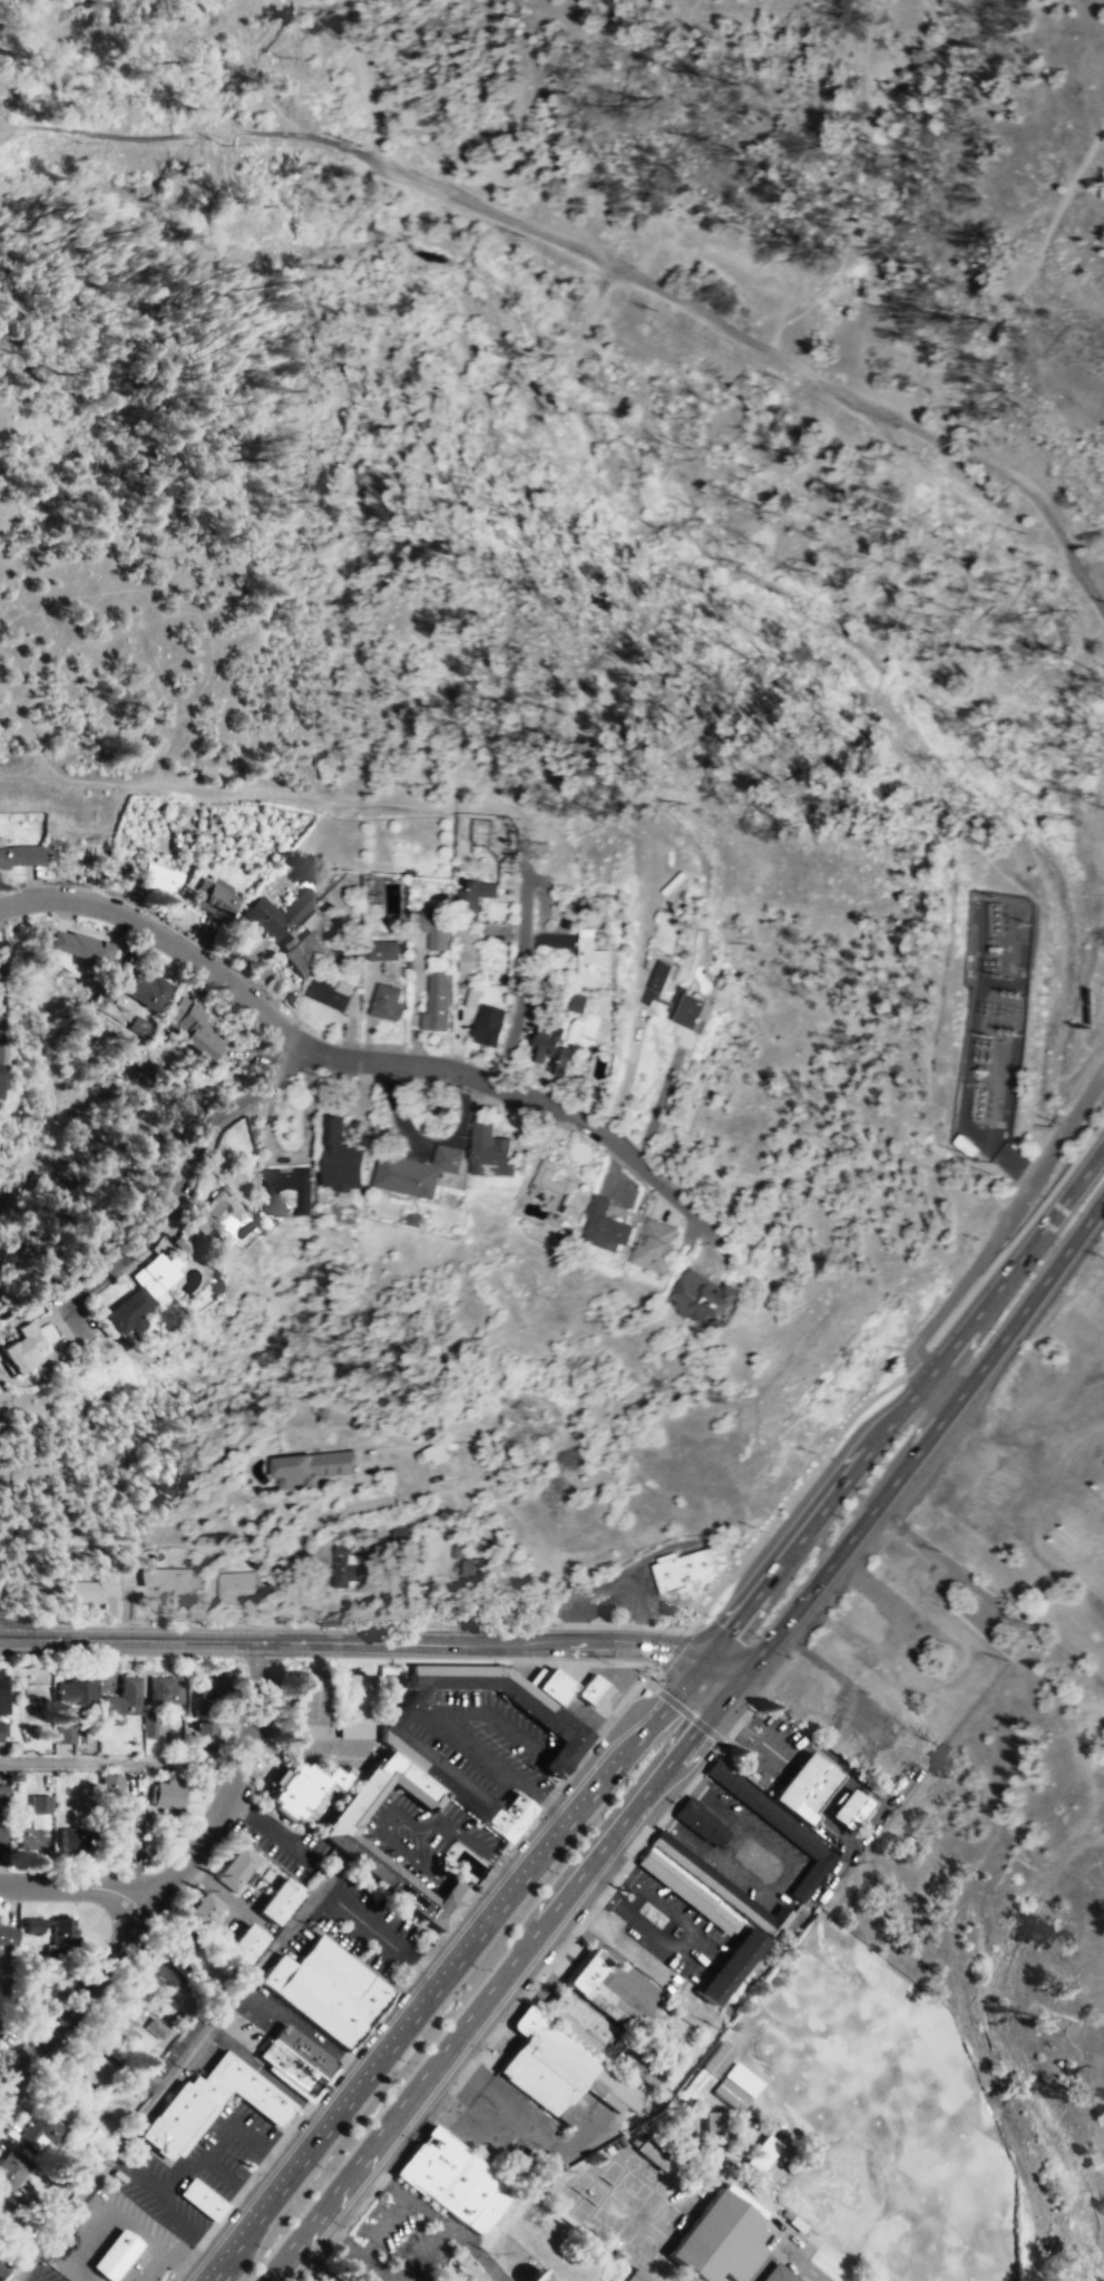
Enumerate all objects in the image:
road: (1095, 39)
road: (360, 79)
road: (1072, 90)
road: (7, 133)
road: (192, 133)
road: (1023, 282)
road: (590, 309)
road: (770, 350)
road: (903, 515)
road: (256, 794)
road: (970, 842)
power tower: (538, 848)
building: (19, 853)
building: (159, 877)
building: (212, 899)
building: (473, 899)
building: (275, 913)
street lamp: (162, 915)
building: (436, 930)
building: (82, 945)
building: (385, 949)
building: (301, 952)
building: (466, 952)
building: (592, 959)
road: (521, 974)
building: (660, 980)
building: (144, 987)
building: (329, 991)
building: (385, 1001)
building: (437, 1001)
building: (579, 1002)
building: (688, 1010)
power substation: (990, 1020)
building: (194, 1025)
building: (488, 1025)
building: (553, 1047)
road: (355, 1058)
building: (1, 1074)
street lamp: (321, 1076)
street lamp: (470, 1090)
street lamp: (565, 1099)
building: (963, 1145)
building: (490, 1149)
road: (306, 1153)
building: (340, 1156)
road: (1088, 1163)
building: (417, 1171)
street lamp: (668, 1175)
building: (553, 1186)
road: (177, 1187)
road: (1102, 1200)
building: (303, 1201)
building: (217, 1213)
building: (605, 1223)
road: (1017, 1232)
road: (991, 1240)
building: (182, 1241)
building: (652, 1243)
building: (144, 1291)
building: (701, 1293)
building: (21, 1347)
road: (914, 1359)
street lamp: (839, 1438)
road: (924, 1442)
building: (432, 1452)
road: (950, 1452)
road: (995, 1462)
building: (307, 1466)
road: (788, 1497)
road: (316, 1521)
street lamp: (766, 1532)
building: (398, 1533)
building: (378, 1545)
building: (455, 1550)
building: (343, 1563)
building: (470, 1570)
building: (683, 1571)
building: (165, 1578)
building: (233, 1584)
building: (92, 1586)
road: (610, 1594)
street lamp: (771, 1611)
street lamp: (709, 1614)
street lamp: (55, 1620)
street lamp: (246, 1622)
street lamp: (447, 1623)
road: (7, 1632)
road: (372, 1640)
road: (672, 1649)
street lamp: (790, 1657)
road: (619, 1663)
street lamp: (655, 1677)
building: (550, 1682)
building: (215, 1686)
building: (589, 1688)
building: (164, 1689)
building: (76, 1691)
building: (303, 1692)
building: (2, 1693)
building: (354, 1693)
building: (120, 1699)
building: (148, 1724)
road: (597, 1727)
building: (1, 1729)
building: (67, 1729)
road: (447, 1729)
road: (641, 1735)
building: (203, 1737)
parking lot: (483, 1739)
building: (402, 1743)
street lamp: (717, 1747)
road: (776, 1750)
road: (121, 1761)
building: (109, 1782)
building: (299, 1782)
building: (802, 1786)
park: (1019, 1786)
street lamp: (558, 1788)
road: (436, 1790)
building: (168, 1792)
building: (1, 1795)
building: (849, 1808)
building: (509, 1816)
road: (409, 1819)
building: (698, 1819)
building: (775, 1826)
road: (270, 1828)
building: (333, 1829)
building: (1, 1833)
parking lot: (420, 1835)
building: (68, 1836)
building: (30, 1837)
building: (116, 1840)
street lamp: (634, 1854)
road: (754, 1861)
building: (234, 1864)
road: (164, 1883)
road: (75, 1884)
building: (722, 1885)
building: (684, 1889)
street lamp: (478, 1891)
building: (275, 1896)
road: (468, 1900)
building: (202, 1906)
building: (439, 1910)
building: (31, 1922)
parking lot: (364, 1923)
building: (61, 1930)
building: (7, 1934)
road: (383, 1935)
building: (179, 1939)
building: (242, 1939)
road: (693, 1949)
building: (0, 1953)
building: (731, 1964)
road: (499, 1974)
building: (152, 1979)
building: (23, 1982)
street lamp: (407, 1982)
building: (326, 1988)
street lamp: (527, 1988)
building: (600, 1990)
parking lot: (263, 2007)
building: (577, 2019)
building: (120, 2022)
building: (155, 2026)
building: (1, 2027)
road: (309, 2035)
street lamp: (481, 2047)
building: (294, 2057)
building: (641, 2065)
building: (559, 2068)
building: (86, 2071)
building: (706, 2071)
building: (147, 2079)
building: (735, 2086)
street lamp: (325, 2089)
building: (208, 2102)
building: (59, 2104)
building: (41, 2127)
building: (713, 2128)
building: (684, 2133)
street lamp: (411, 2136)
building: (739, 2136)
building: (653, 2152)
building: (760, 2152)
road: (188, 2164)
building: (11, 2167)
parking lot: (195, 2167)
street lamp: (257, 2172)
building: (452, 2177)
road: (144, 2178)
road: (379, 2178)
road: (233, 2180)
building: (201, 2199)
park: (621, 2201)
road: (423, 2209)
street lamp: (343, 2223)
park: (655, 2227)
road: (334, 2235)
building: (715, 2240)
road: (473, 2249)
building: (115, 2253)
building: (2, 2265)
road: (373, 2268)
building: (775, 2273)
building: (636, 2275)
building: (325, 2278)
street lamp: (173, 2279)

